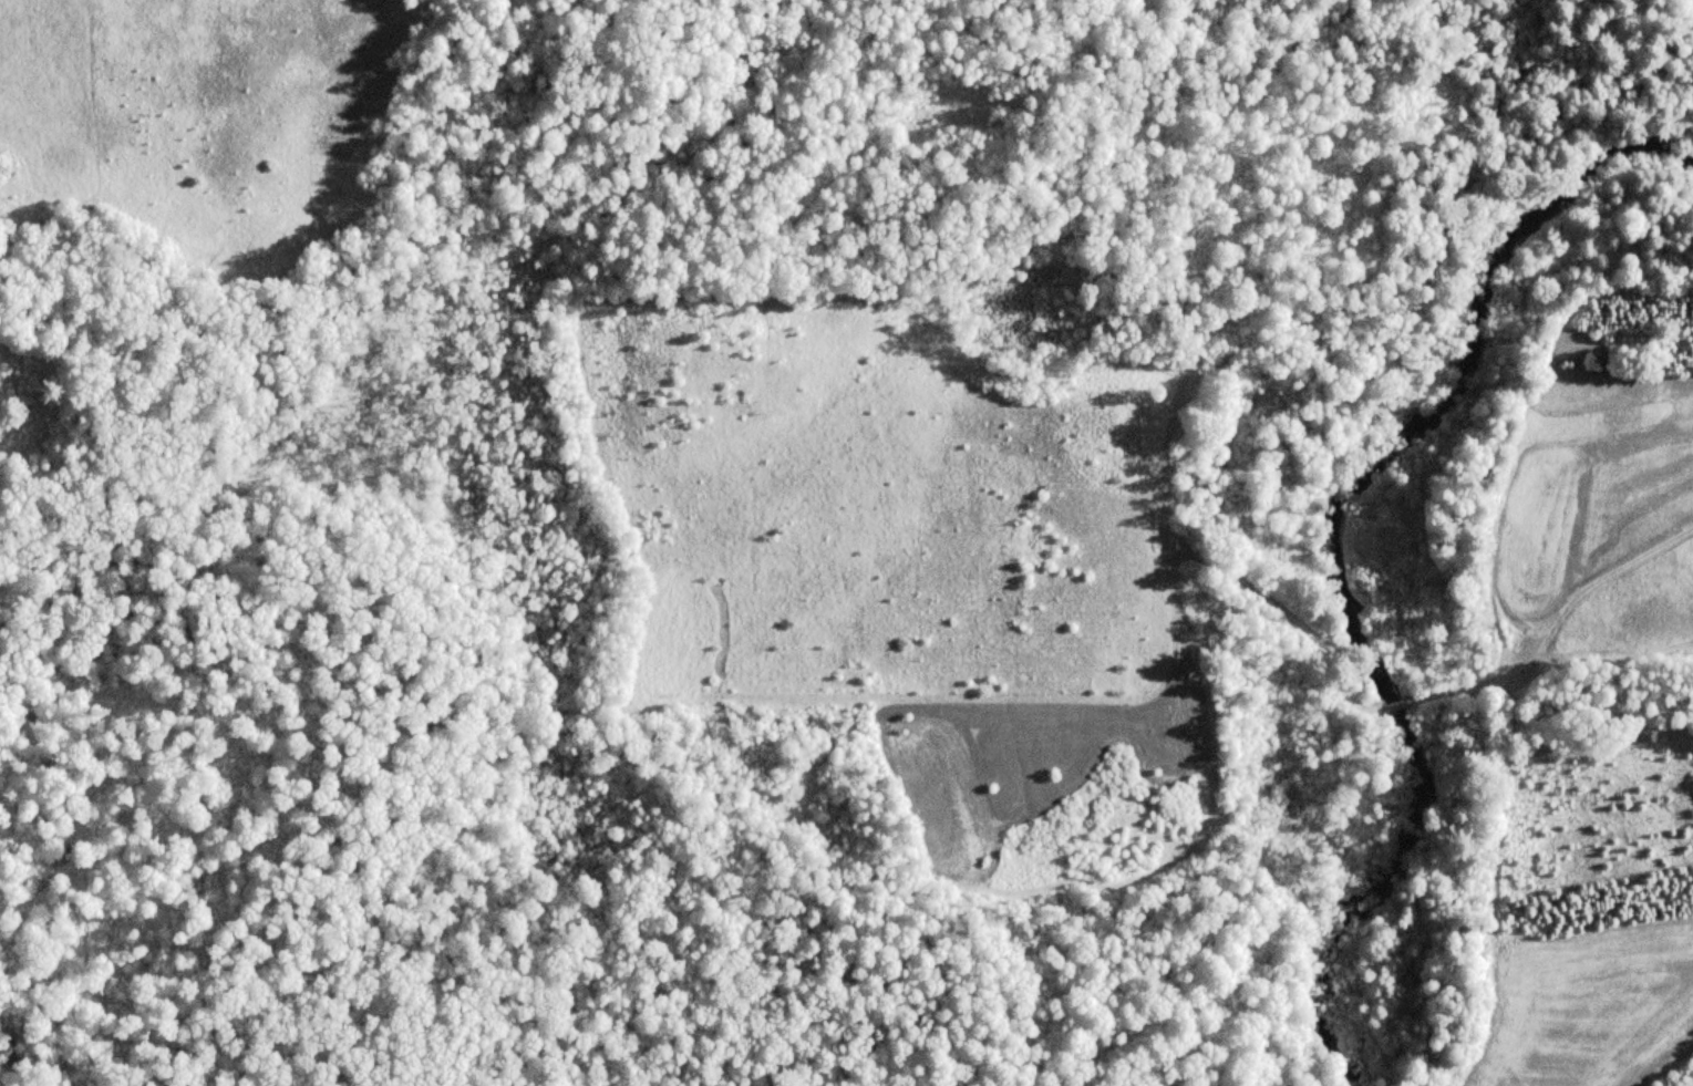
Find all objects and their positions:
river: (1336, 546)

